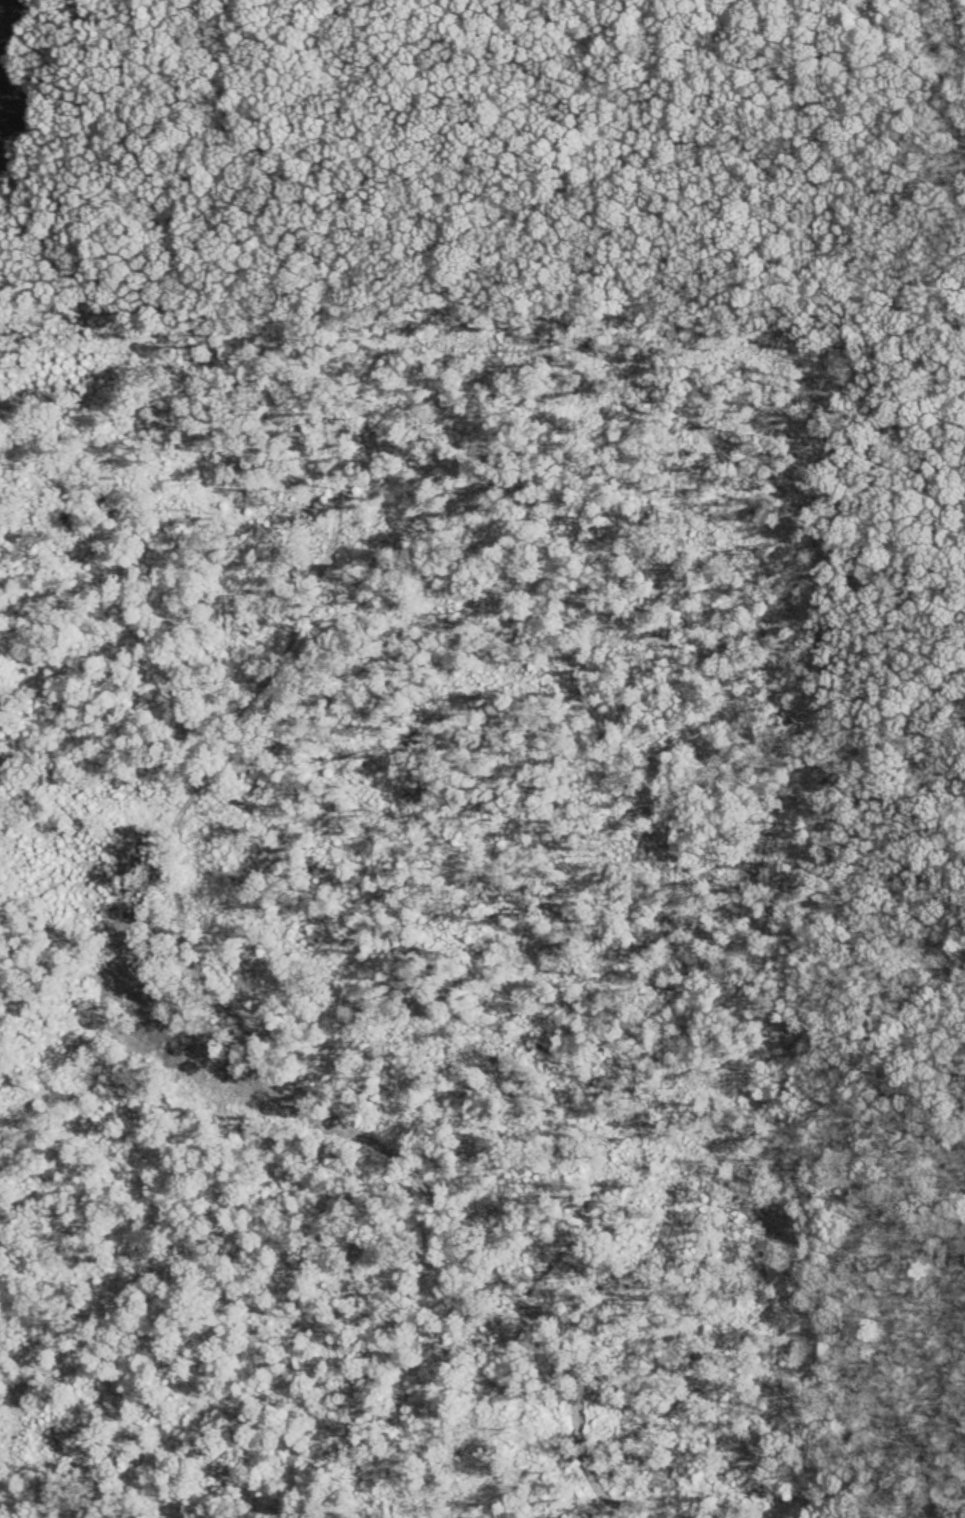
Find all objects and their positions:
road: (898, 441)
road: (908, 974)

